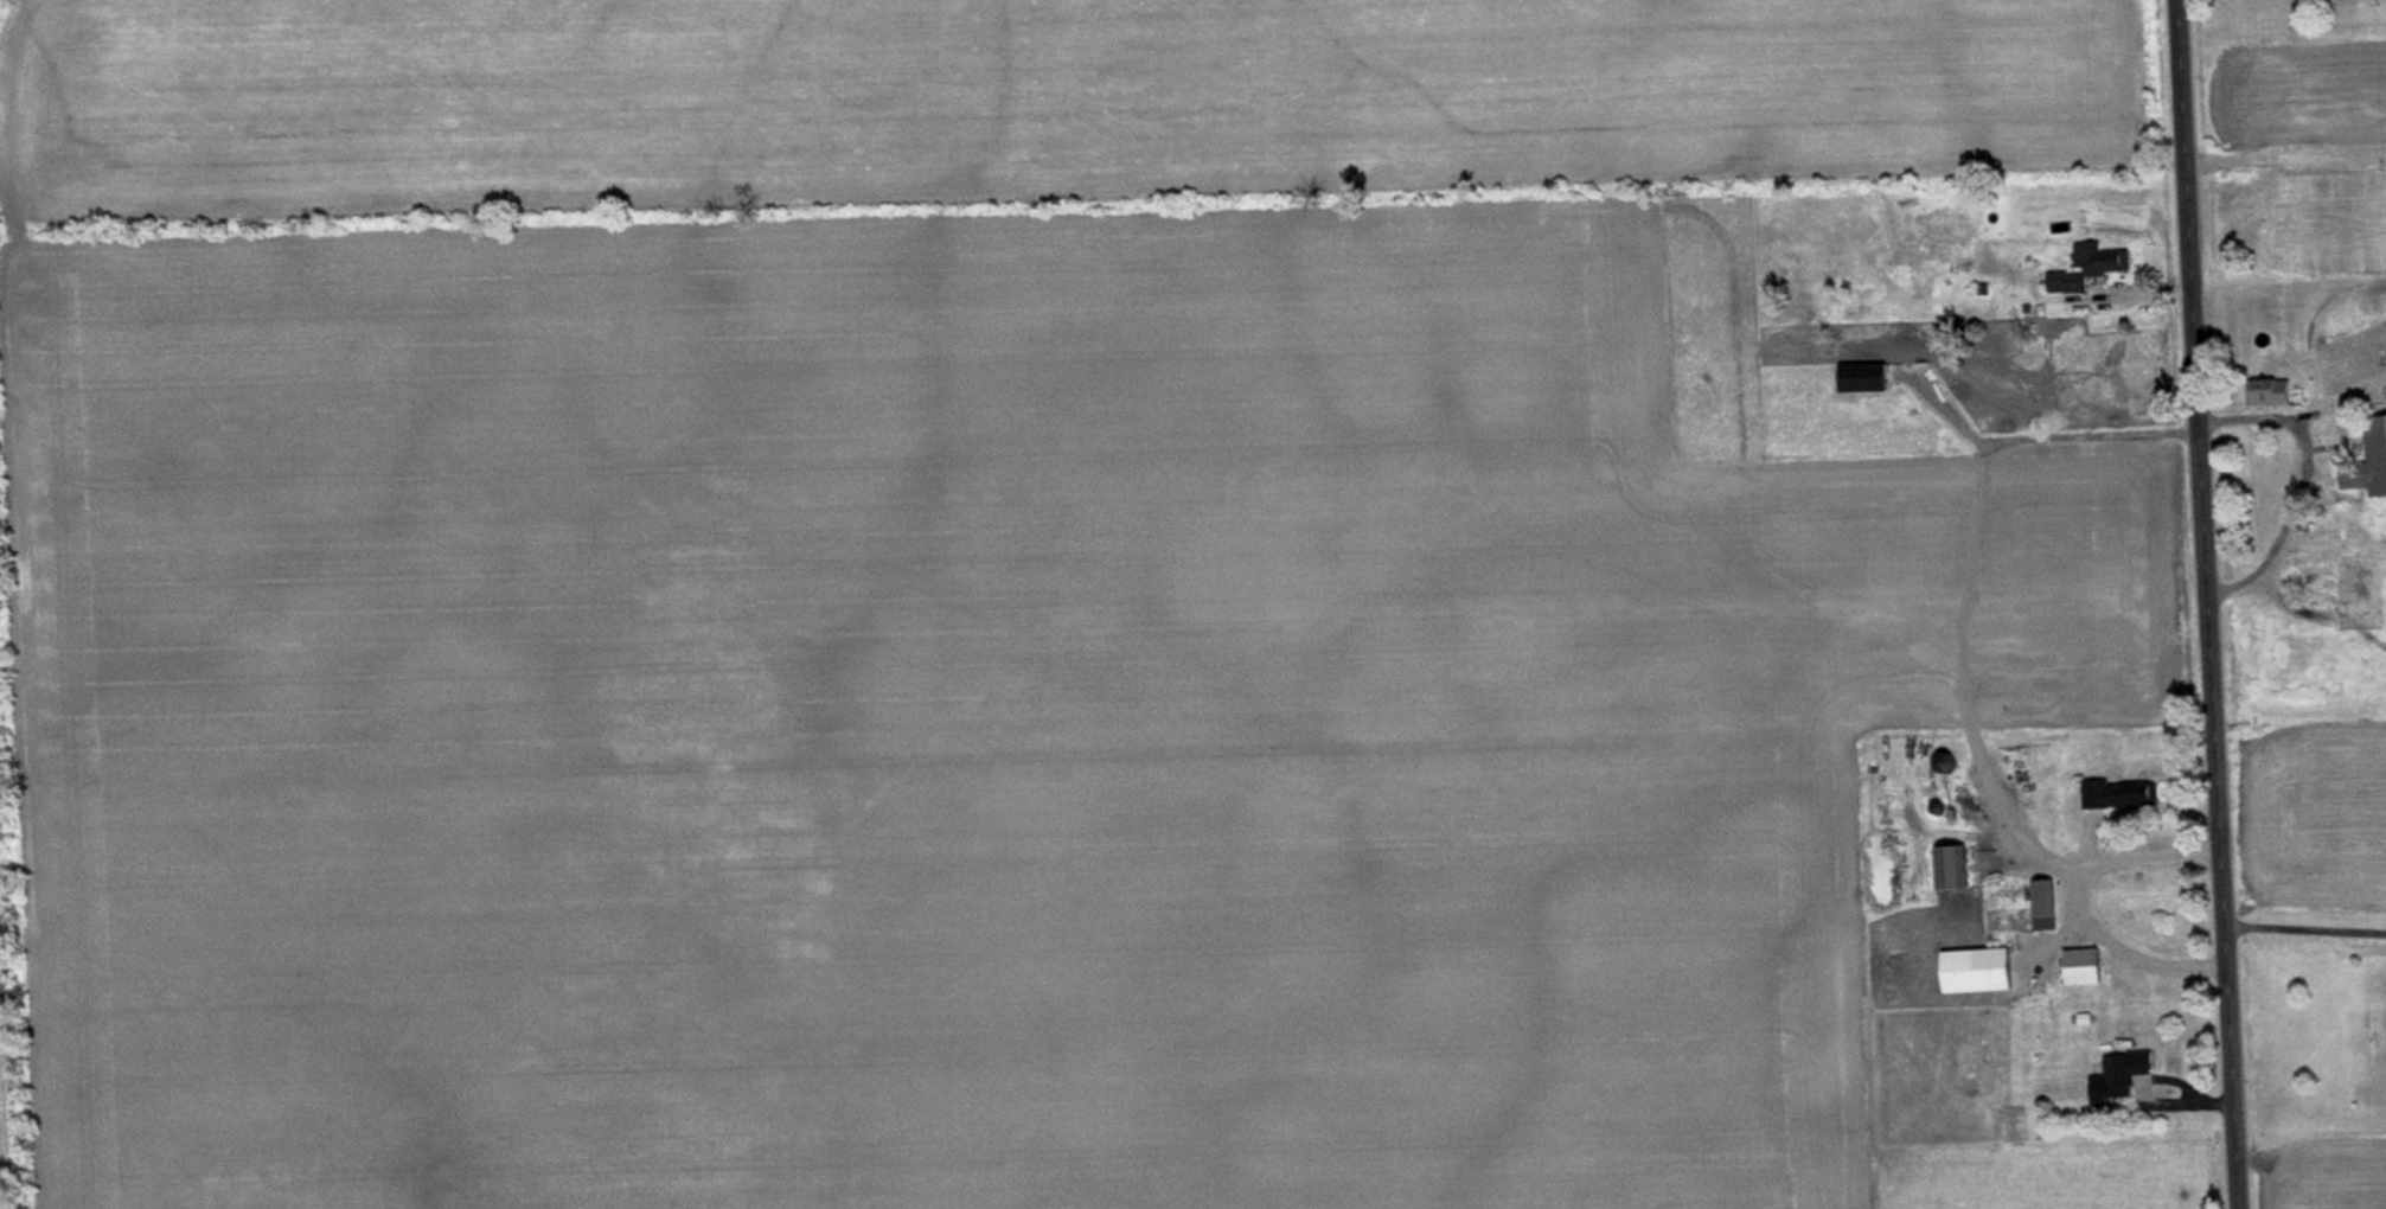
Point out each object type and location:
building: (1957, 241)
building: (2088, 270)
building: (1925, 324)
building: (1866, 380)
building: (2275, 394)
building: (2378, 441)
building: (2327, 570)
road: (2200, 603)
building: (1952, 766)
building: (2122, 798)
building: (1957, 870)
building: (2047, 908)
road: (2301, 929)
building: (2087, 970)
building: (1981, 973)
building: (2123, 1079)

